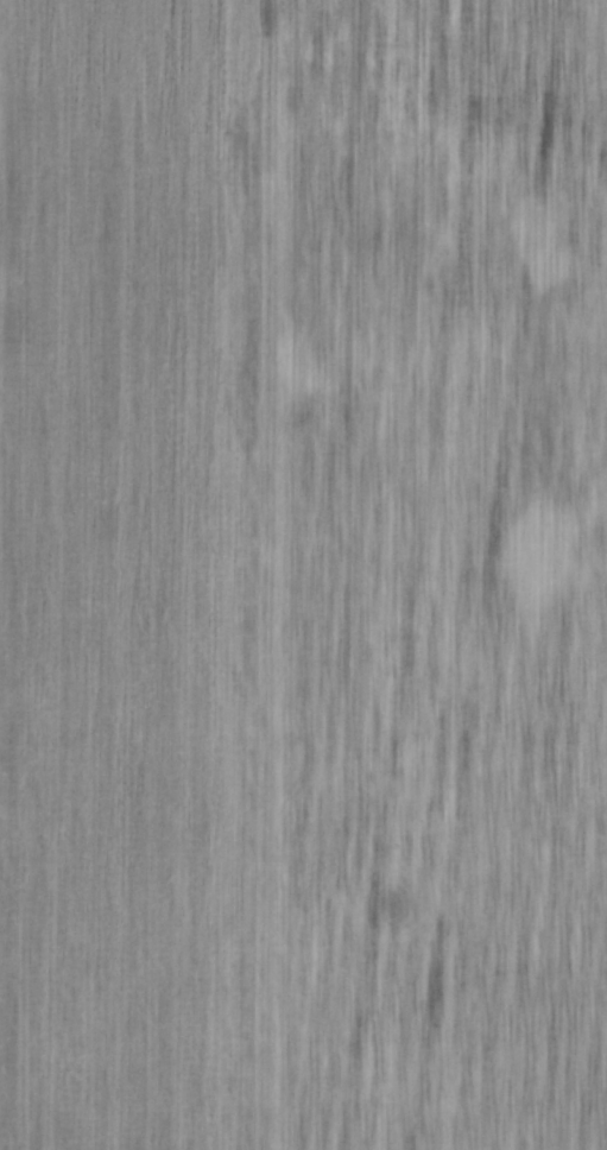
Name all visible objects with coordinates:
crop: (303, 575)

